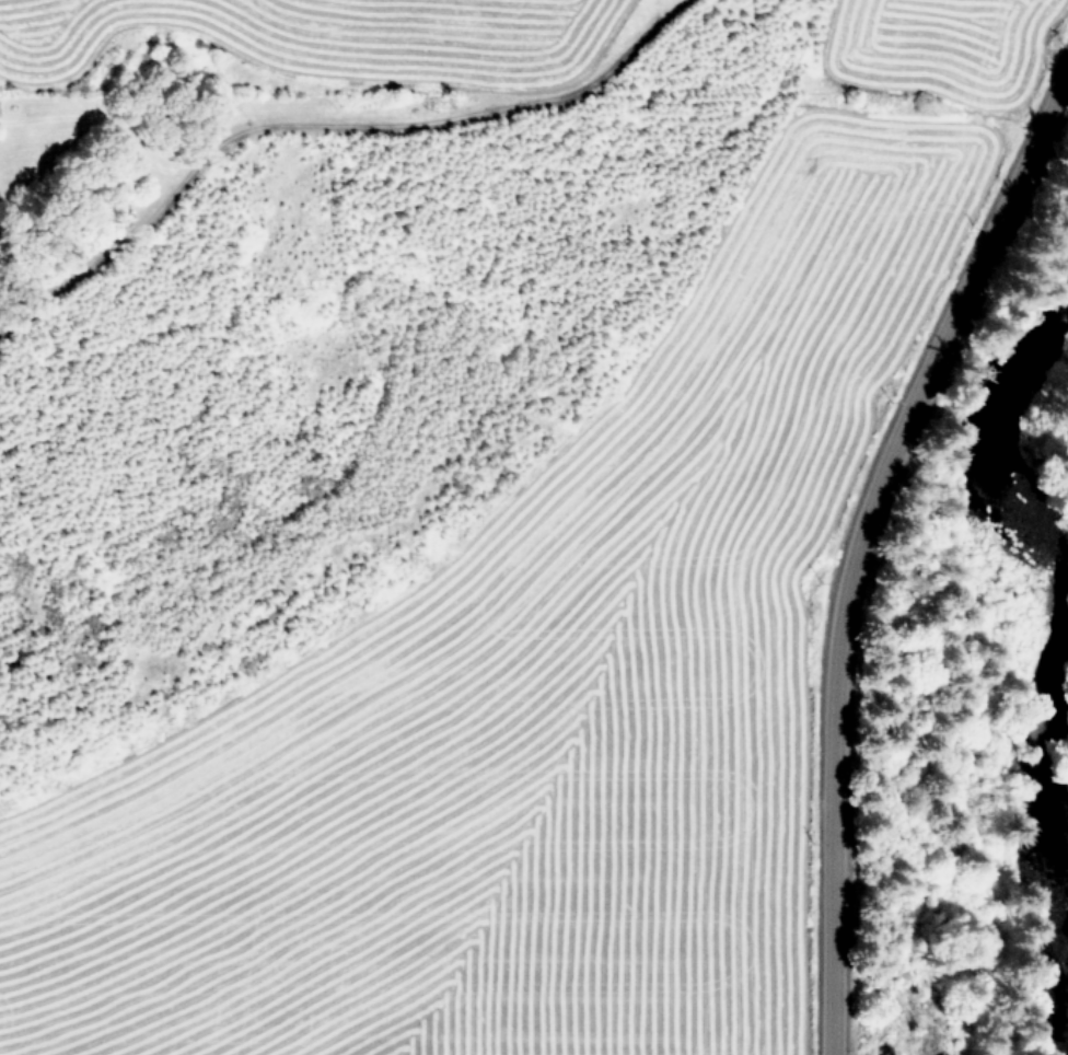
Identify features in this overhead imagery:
road: (860, 540)
crop: (605, 650)

